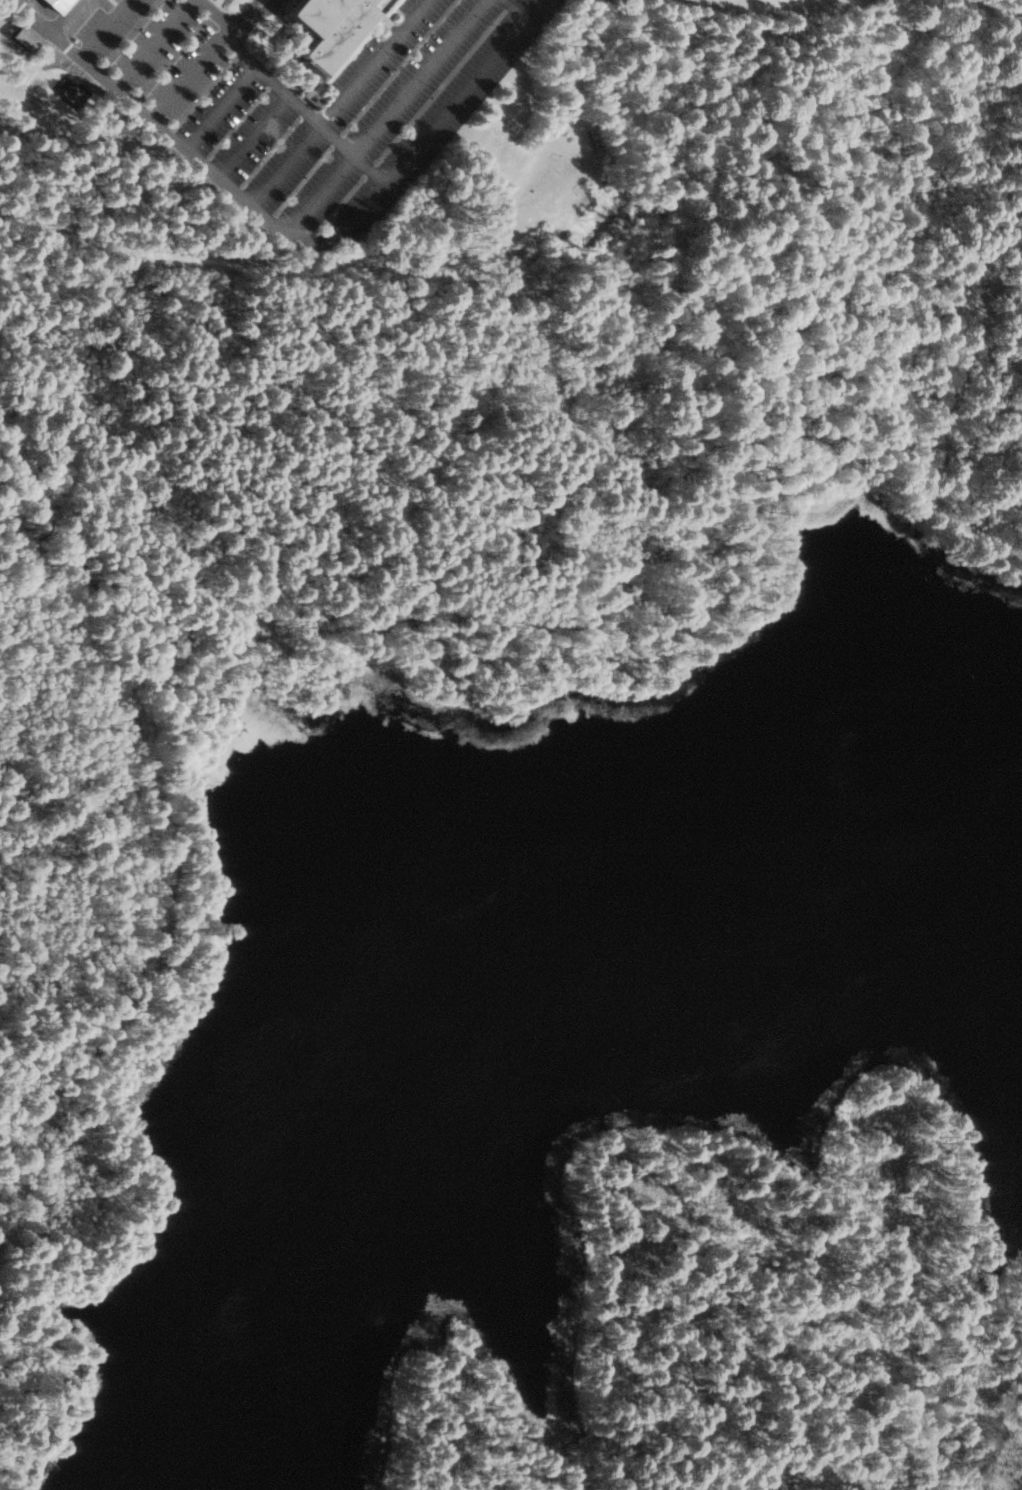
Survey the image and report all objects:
building: (58, 4)
road: (4, 9)
road: (46, 25)
building: (330, 27)
building: (26, 37)
road: (385, 116)
road: (93, 137)
road: (236, 192)
road: (76, 414)
road: (358, 622)
park: (503, 947)
road: (662, 1182)
road: (776, 1243)

